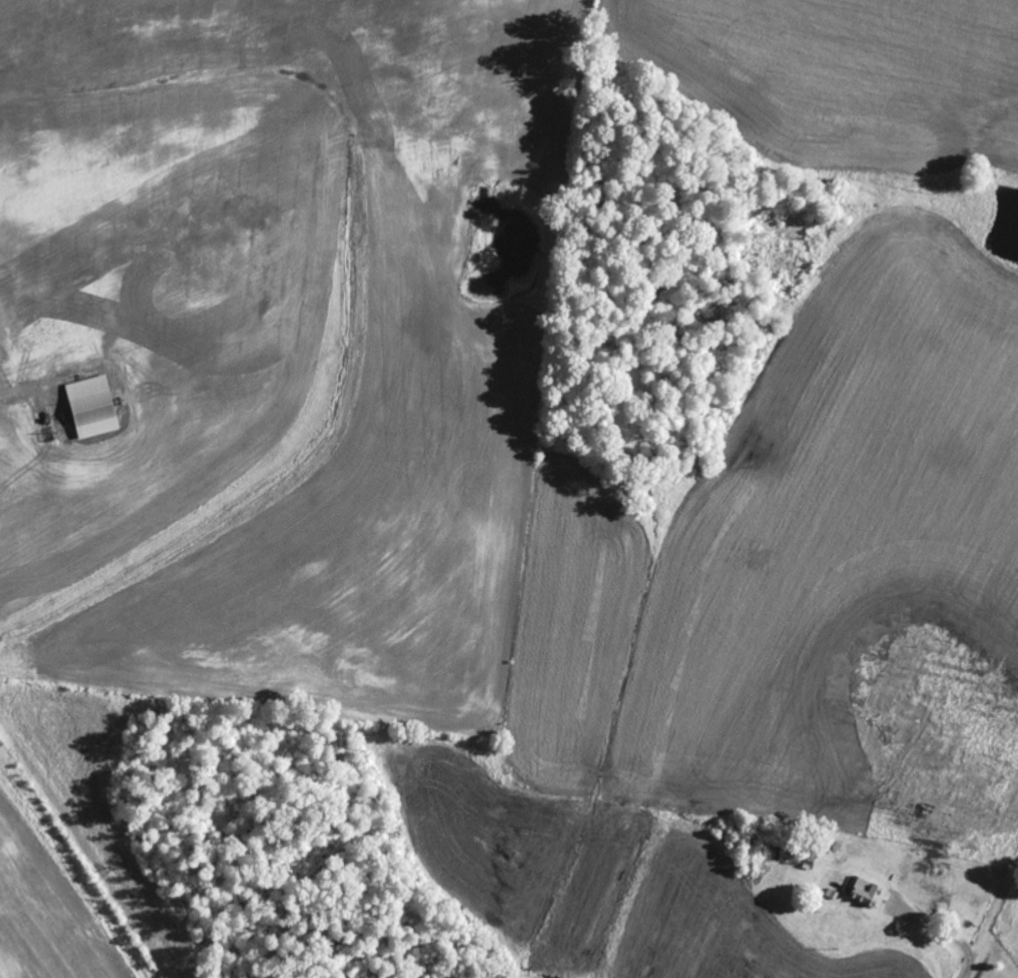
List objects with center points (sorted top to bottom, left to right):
building: (93, 408)
building: (798, 858)
building: (862, 887)
building: (828, 889)
road: (948, 938)

